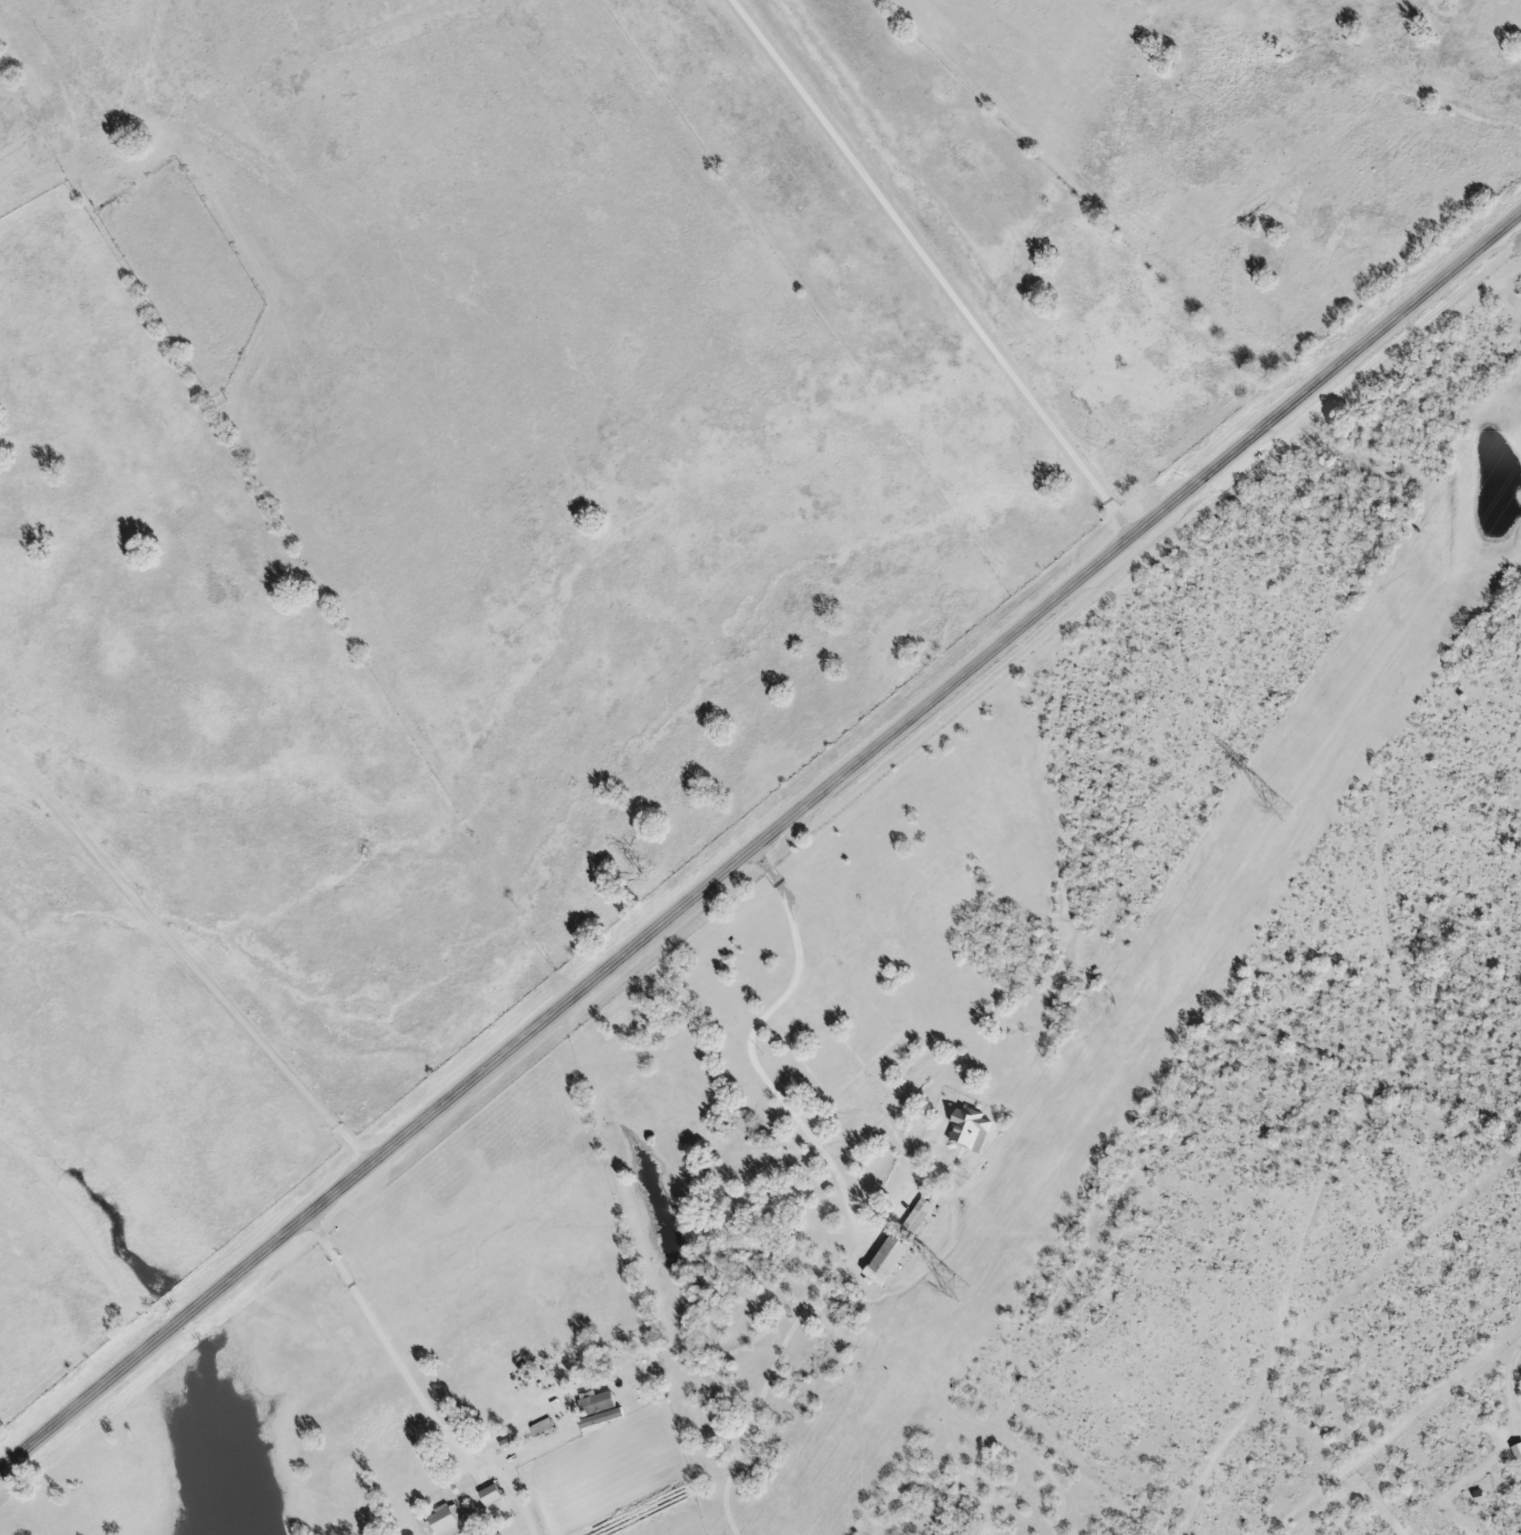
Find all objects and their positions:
road: (928, 268)
power tower: (1280, 812)
road: (759, 842)
road: (186, 956)
road: (747, 1041)
building: (966, 1130)
building: (915, 1219)
power tower: (956, 1291)
road: (409, 1385)
building: (595, 1405)
building: (540, 1429)
building: (489, 1496)
building: (441, 1521)

